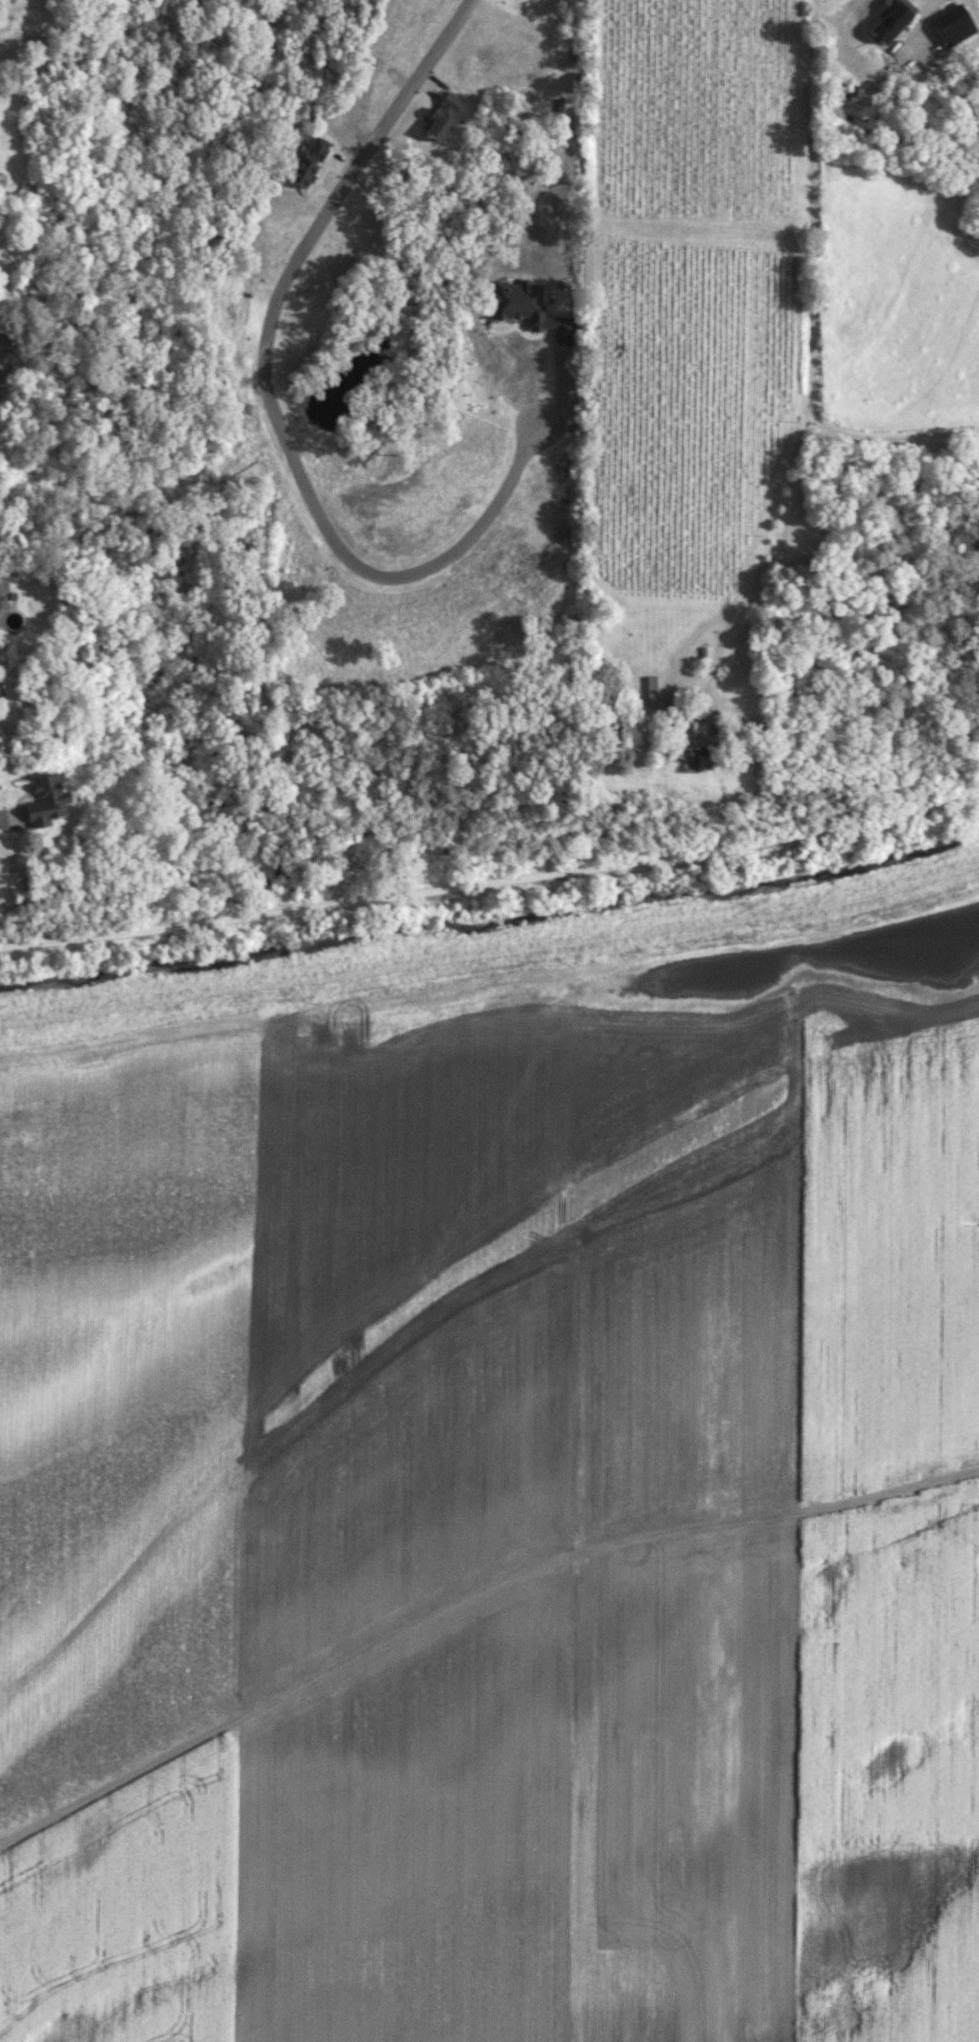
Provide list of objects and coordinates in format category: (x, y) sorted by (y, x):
road: (934, 1)
road: (810, 203)
road: (266, 398)
road: (889, 436)
road: (734, 605)
building: (654, 691)
building: (690, 740)
building: (43, 801)
road: (11, 817)
road: (492, 881)
road: (467, 1594)

